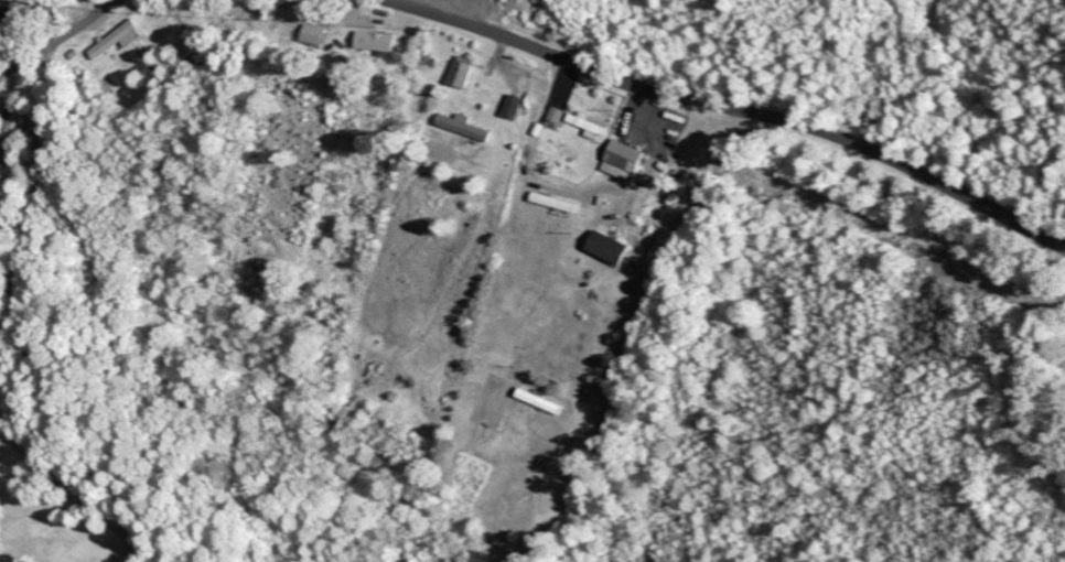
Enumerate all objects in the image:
building: (9, 11)
building: (319, 35)
road: (62, 36)
building: (119, 41)
building: (380, 43)
building: (466, 73)
building: (516, 107)
road: (728, 109)
building: (558, 116)
building: (590, 125)
building: (627, 162)
building: (612, 249)

